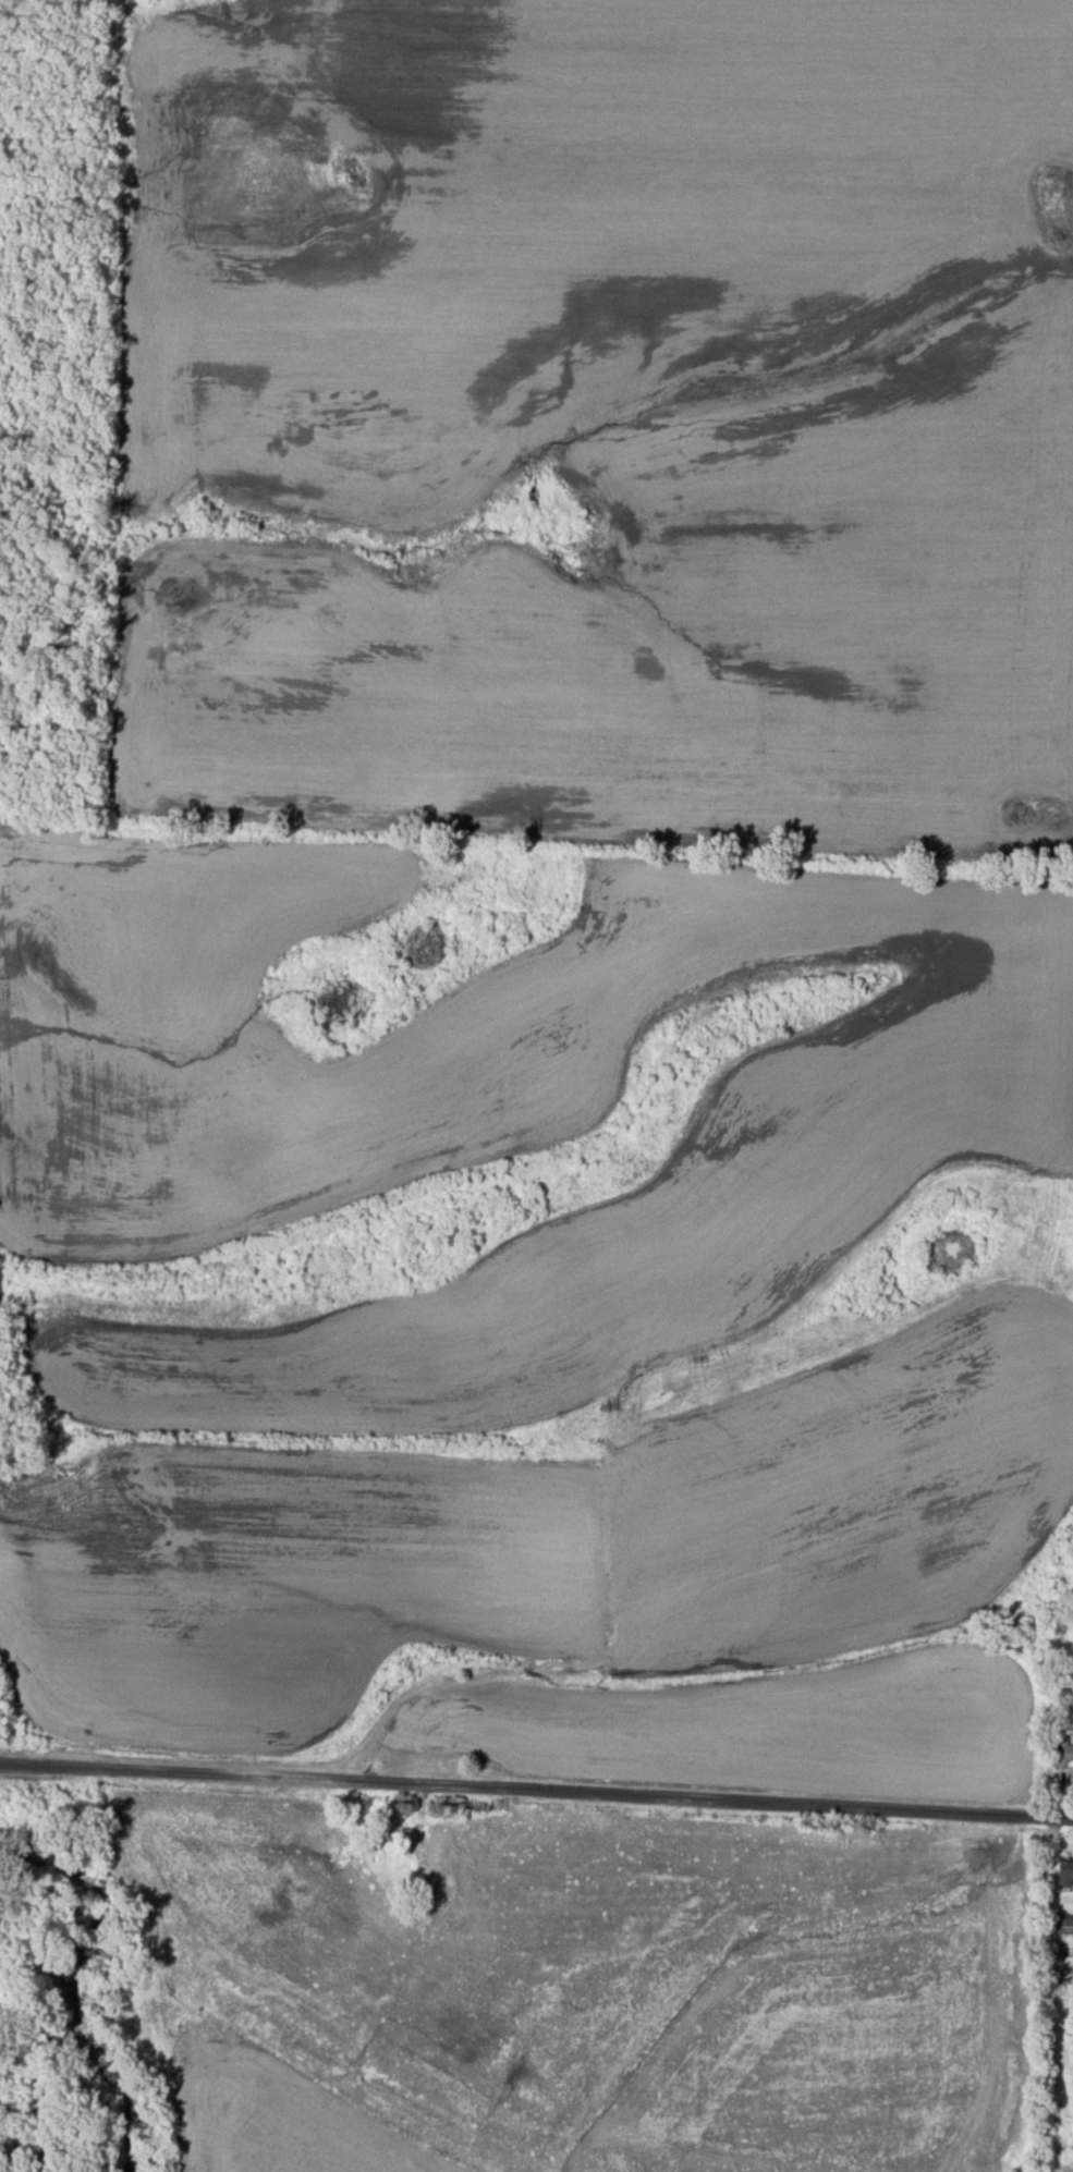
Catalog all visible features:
crop: (596, 415)
crop: (480, 1109)
crop: (585, 1578)
building: (1064, 1750)
road: (536, 1787)
building: (1065, 1872)
building: (1064, 1923)
crop: (574, 1984)

